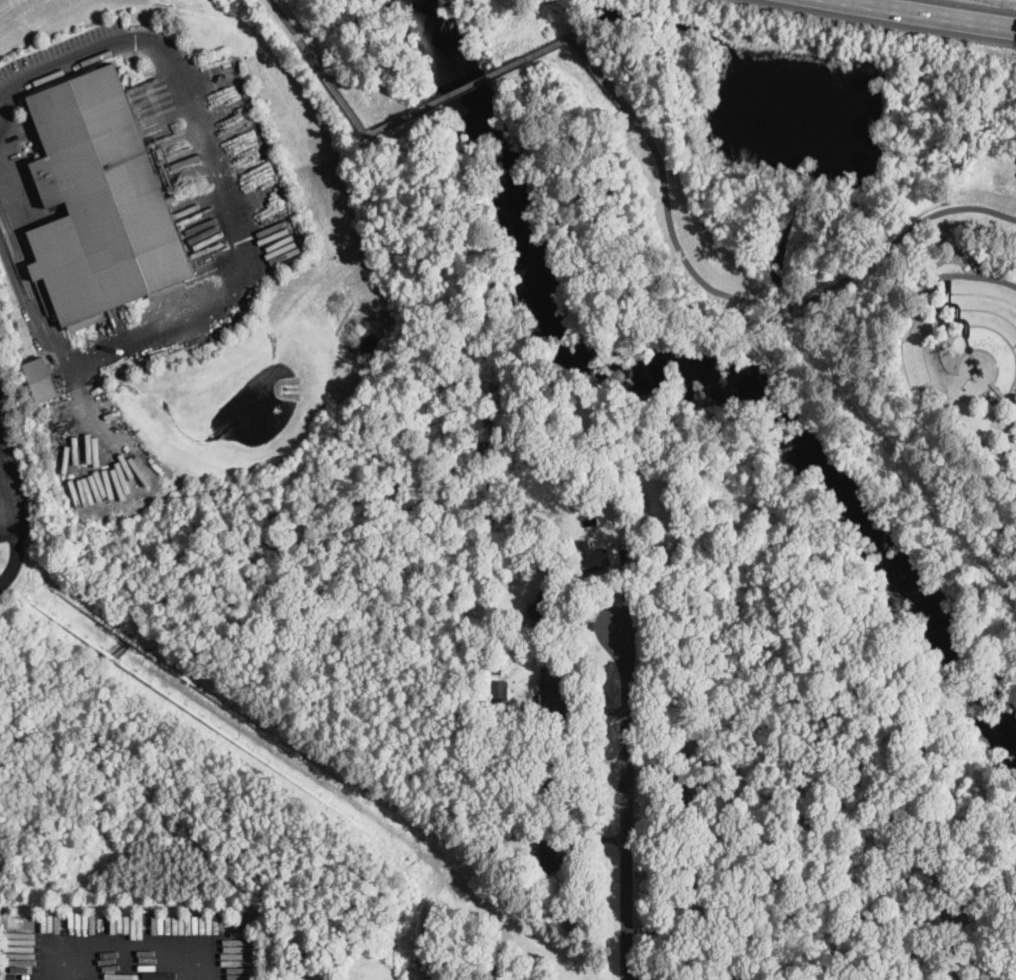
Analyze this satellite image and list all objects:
road: (933, 12)
road: (640, 127)
road: (223, 186)
building: (100, 200)
park: (787, 277)
road: (974, 278)
road: (983, 296)
road: (43, 311)
road: (989, 313)
road: (958, 314)
road: (1015, 347)
building: (41, 378)
park: (472, 388)
building: (613, 466)
building: (634, 488)
building: (580, 494)
building: (622, 518)
road: (16, 538)
building: (595, 560)
building: (543, 605)
building: (495, 669)
building: (549, 689)
building: (499, 690)
building: (685, 701)
building: (562, 747)
building: (657, 749)
building: (551, 750)
building: (549, 778)
building: (684, 795)
road: (627, 803)
building: (550, 856)
building: (680, 908)
building: (725, 919)
road: (130, 954)
building: (496, 971)
building: (746, 975)

